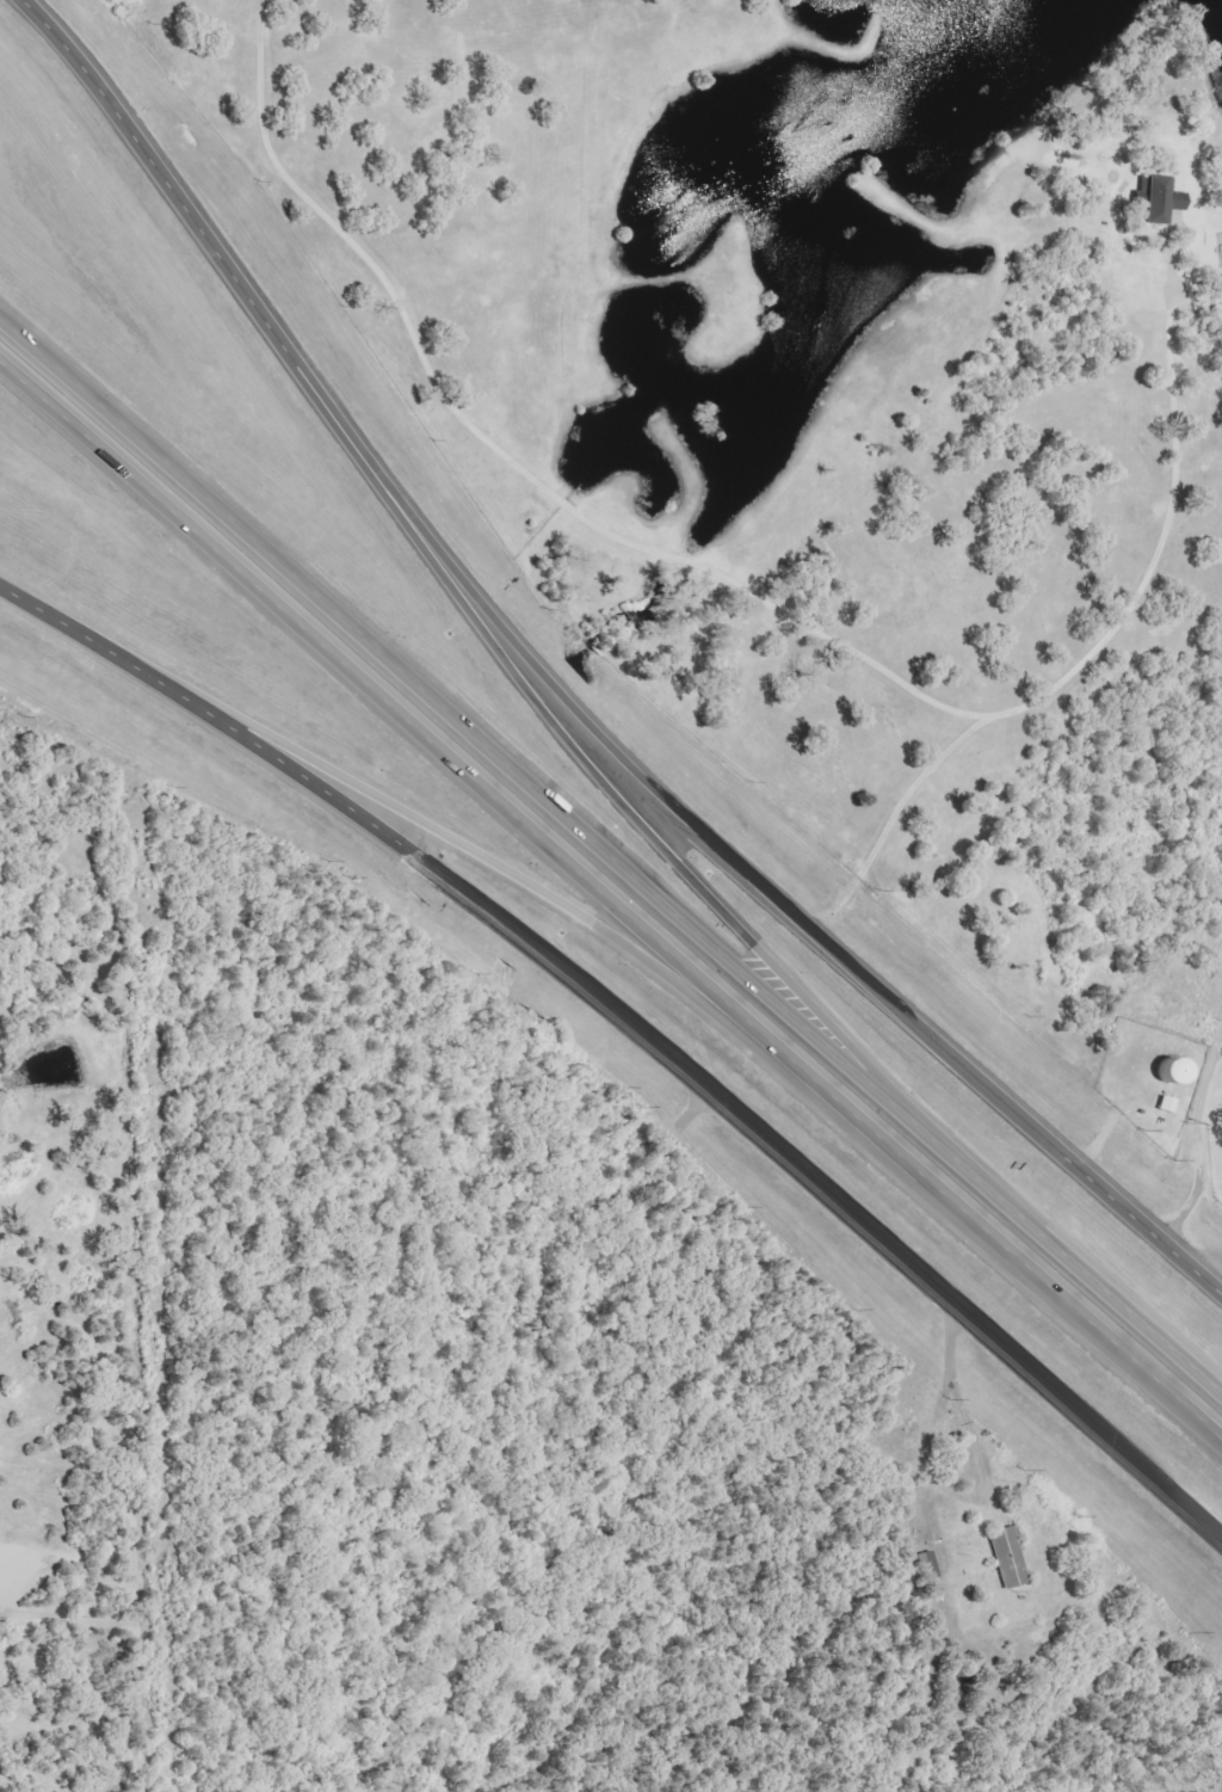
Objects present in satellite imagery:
building: (1154, 201)
building: (1217, 313)
road: (270, 601)
road: (562, 696)
road: (617, 802)
road: (610, 860)
road: (500, 872)
road: (634, 1030)
building: (1165, 1071)
road: (1195, 1125)
road: (878, 1141)
building: (1005, 1557)

